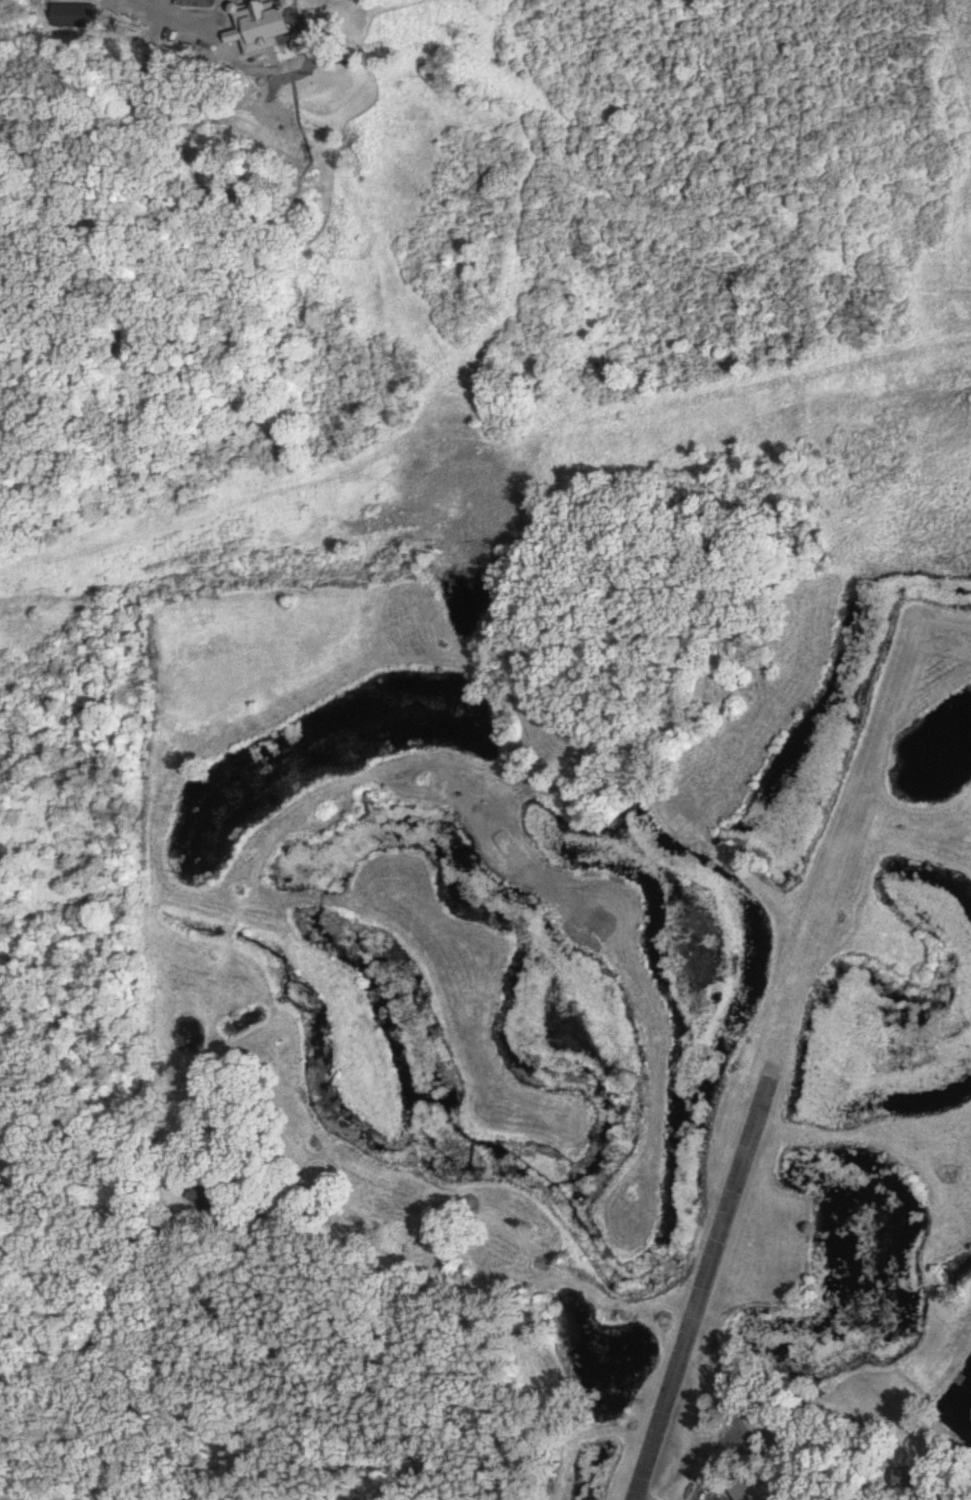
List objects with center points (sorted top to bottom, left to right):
building: (204, 2)
building: (78, 16)
road: (179, 20)
building: (273, 25)
building: (211, 1198)
building: (920, 1480)
building: (763, 1484)

